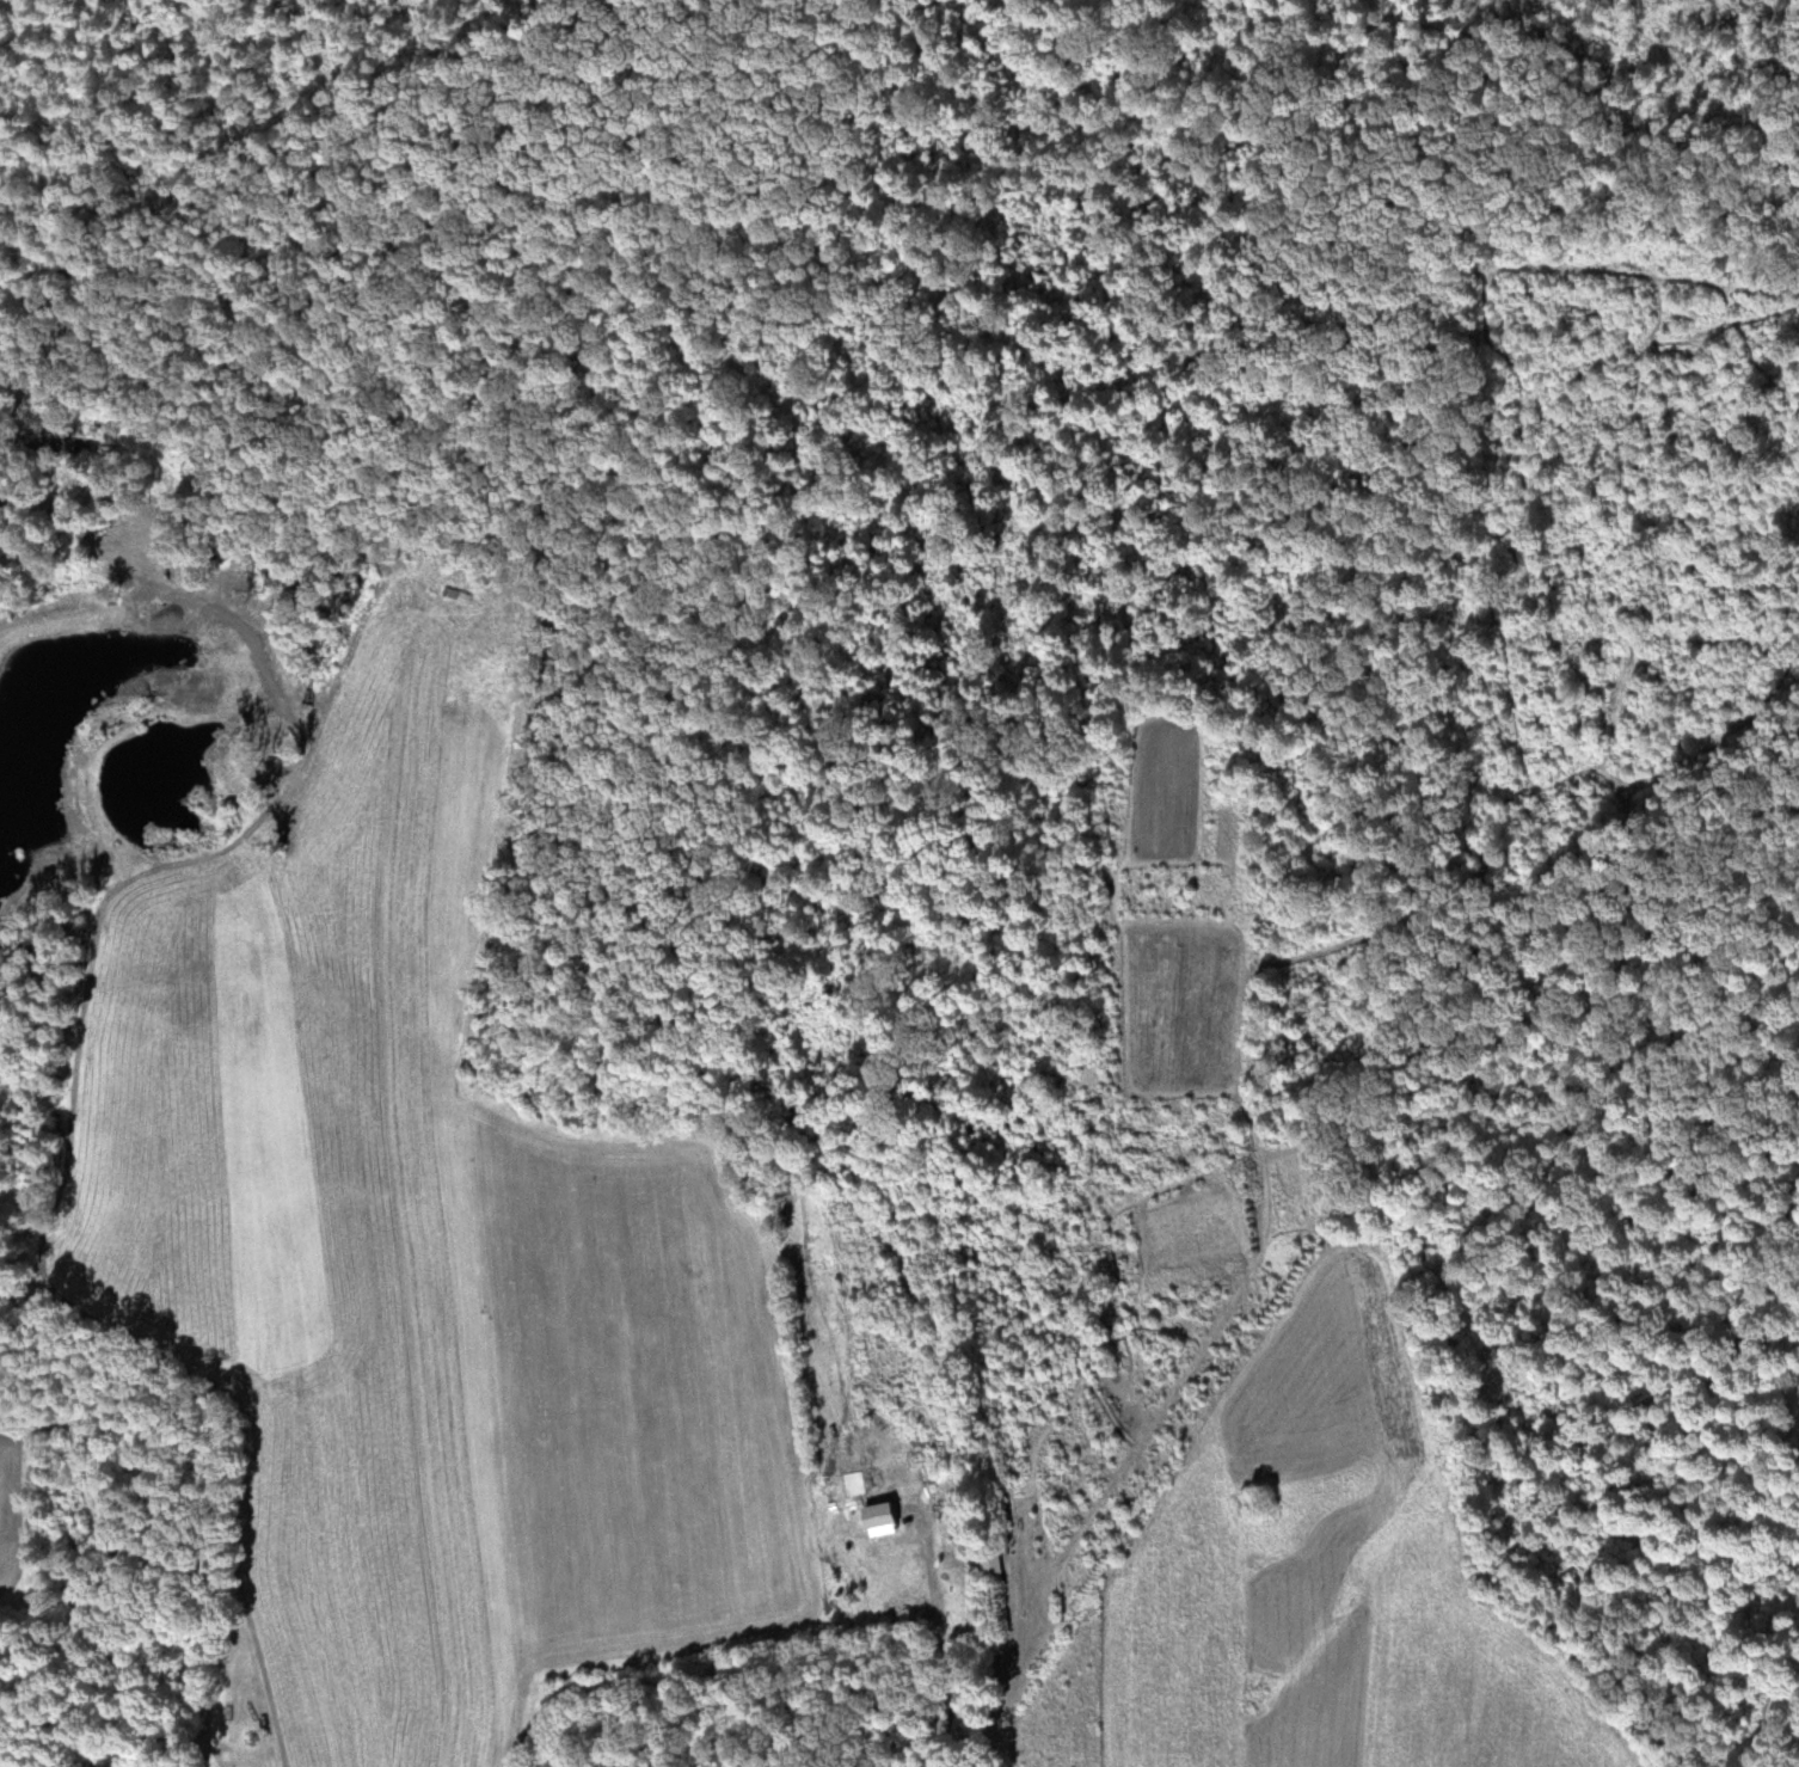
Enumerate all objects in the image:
building: (885, 1515)
building: (991, 1563)

